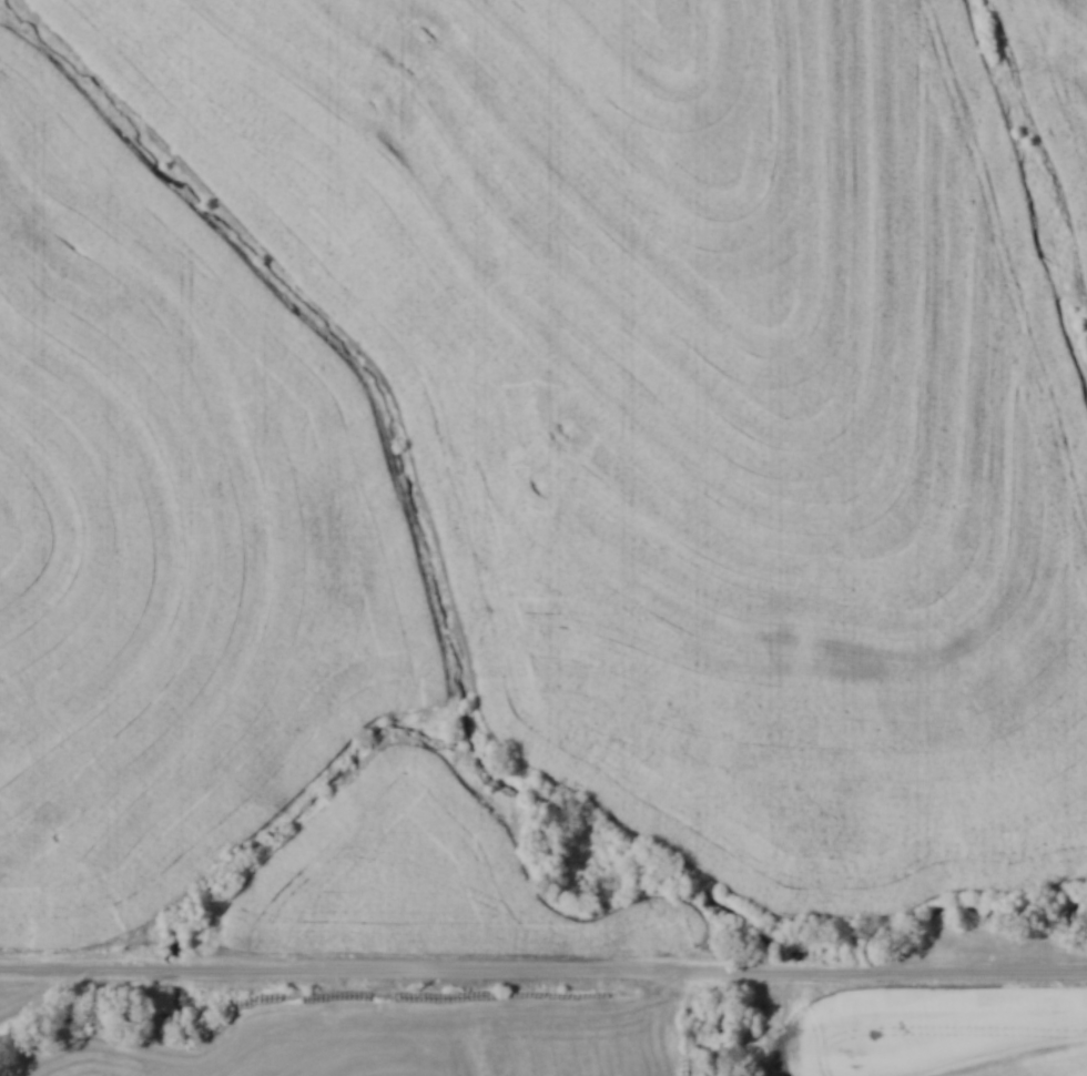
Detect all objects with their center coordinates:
road: (543, 970)

